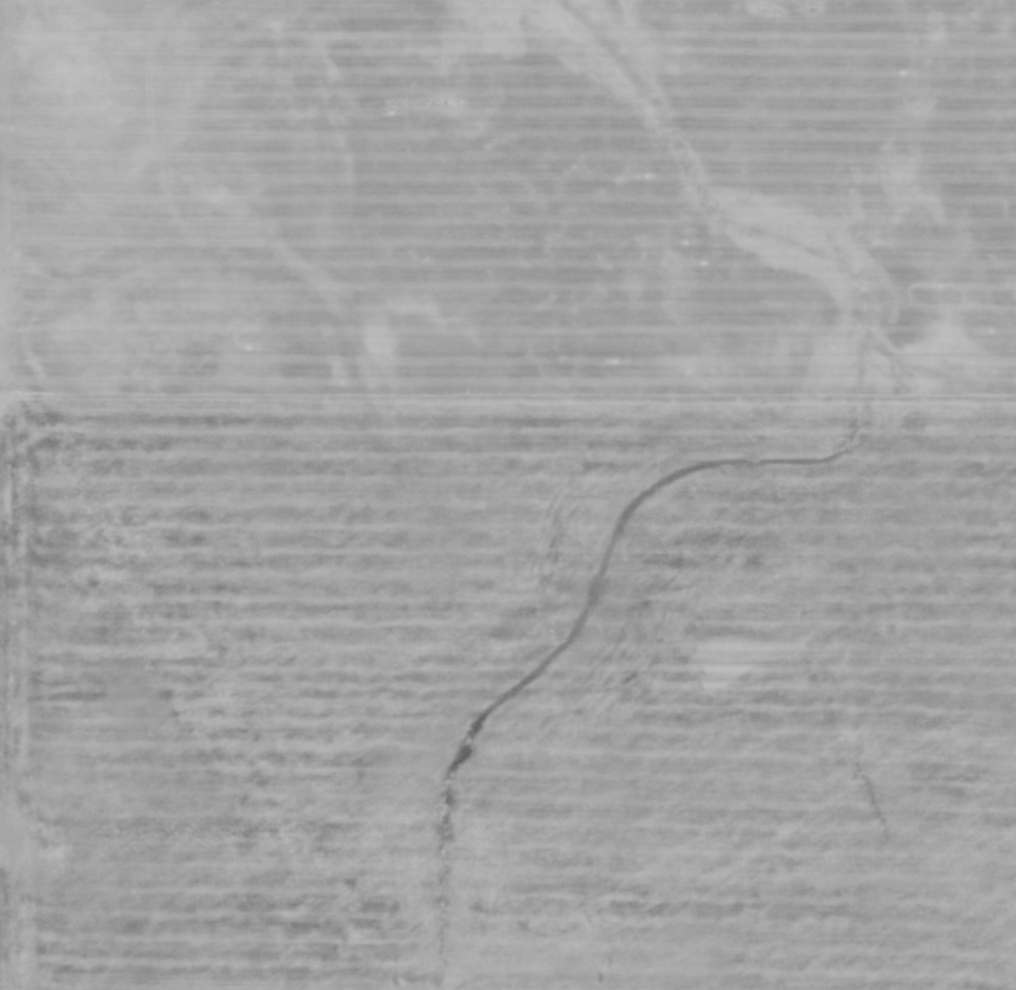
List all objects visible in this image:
crop: (508, 407)

